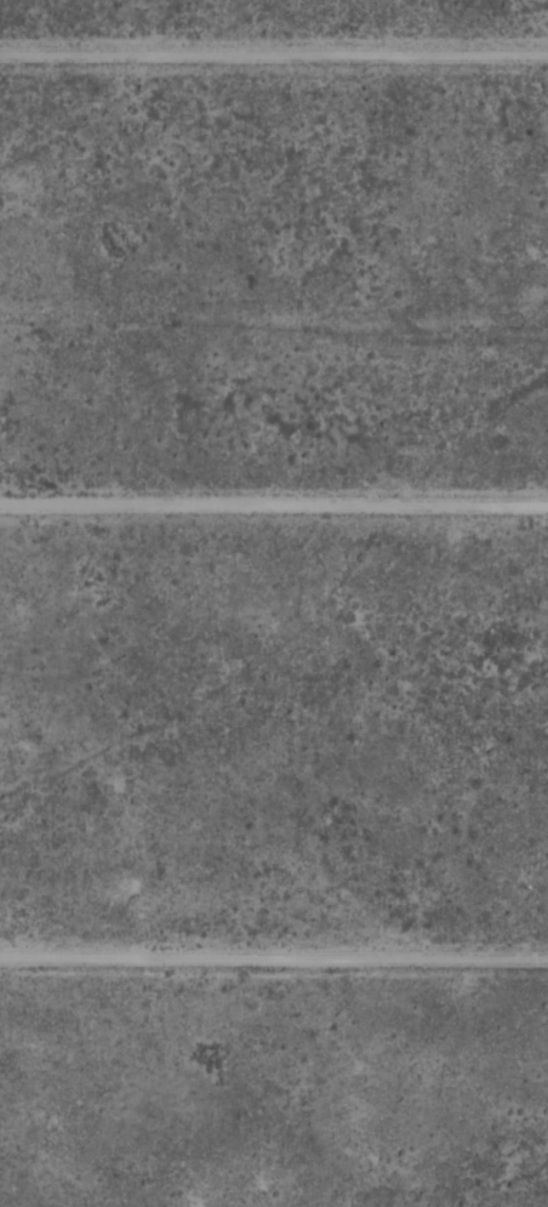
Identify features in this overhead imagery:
road: (274, 53)
road: (274, 505)
road: (274, 955)

